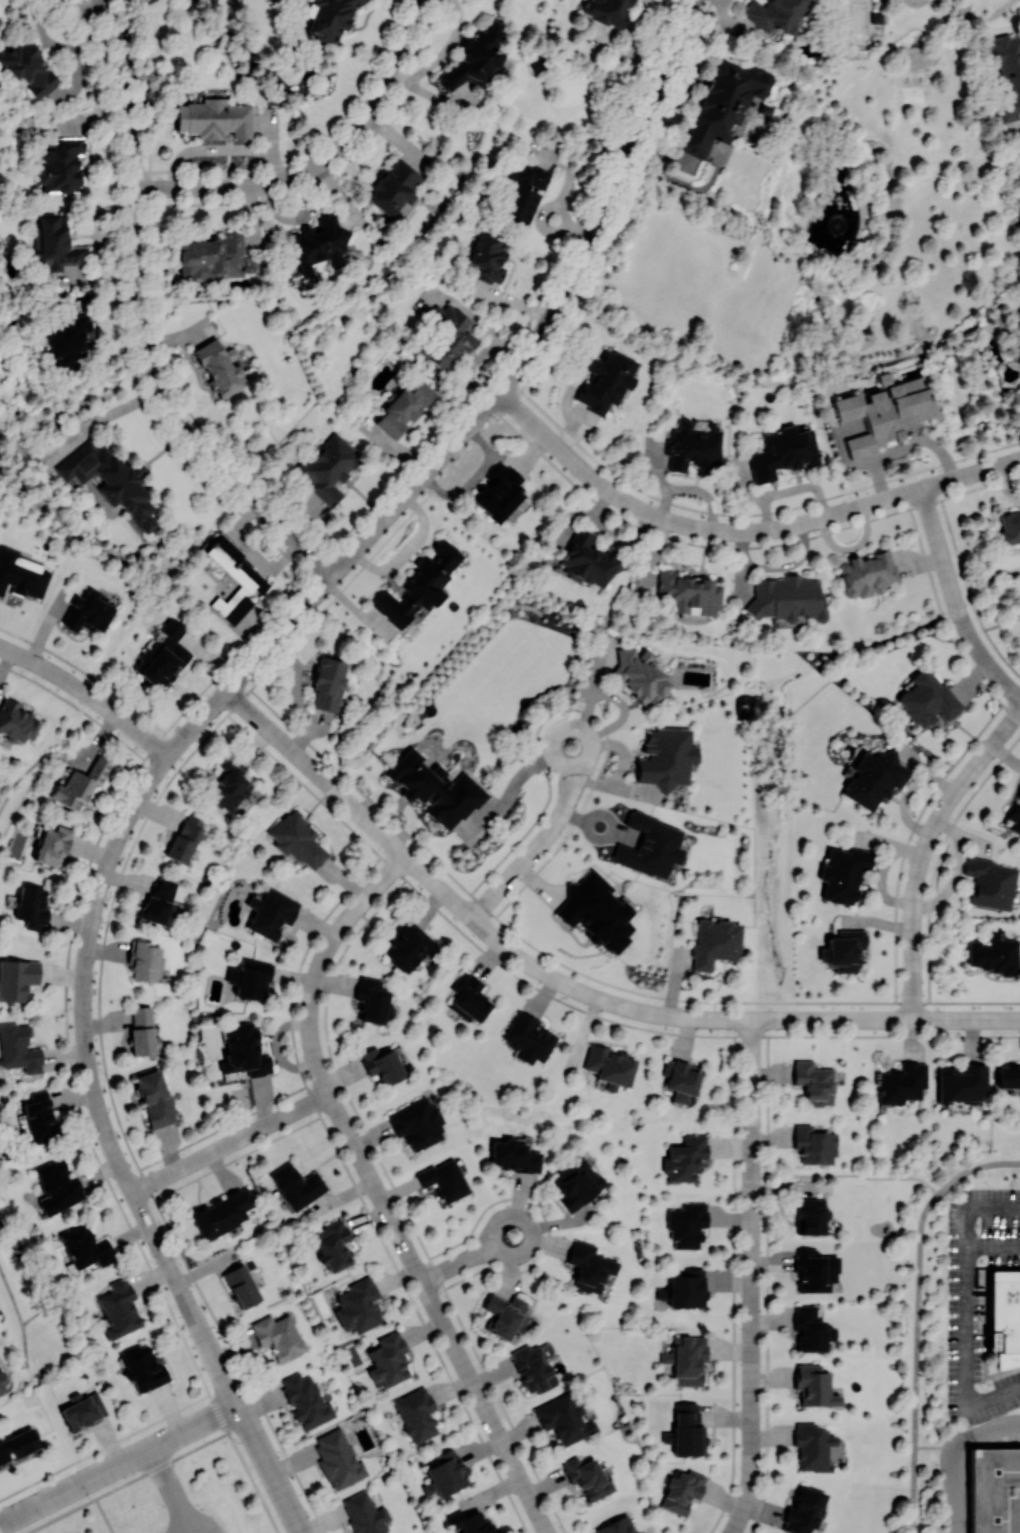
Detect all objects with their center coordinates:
road: (86, 8)
building: (608, 10)
building: (775, 12)
building: (329, 17)
building: (475, 57)
building: (29, 69)
building: (1007, 76)
building: (723, 101)
building: (214, 118)
road: (322, 162)
building: (60, 165)
building: (1017, 171)
building: (394, 189)
building: (520, 191)
road: (605, 200)
park: (826, 236)
building: (320, 243)
building: (56, 245)
building: (215, 258)
building: (488, 258)
road: (135, 315)
building: (449, 338)
building: (64, 340)
building: (218, 368)
building: (606, 380)
building: (402, 407)
building: (881, 414)
building: (691, 446)
building: (783, 452)
building: (328, 468)
building: (110, 480)
building: (499, 491)
building: (108, 509)
building: (1009, 527)
road: (741, 531)
road: (362, 543)
building: (581, 556)
building: (238, 570)
building: (868, 573)
building: (21, 576)
building: (419, 584)
building: (687, 593)
building: (786, 598)
road: (955, 601)
building: (88, 611)
building: (162, 655)
building: (640, 674)
building: (328, 683)
road: (88, 696)
building: (927, 699)
building: (16, 721)
road: (196, 725)
building: (666, 757)
building: (873, 779)
building: (80, 784)
building: (229, 785)
building: (436, 788)
building: (1015, 813)
building: (185, 838)
building: (297, 840)
road: (544, 840)
building: (52, 844)
building: (649, 846)
road: (924, 850)
building: (843, 873)
building: (990, 883)
building: (158, 900)
building: (31, 907)
building: (595, 911)
building: (271, 912)
building: (715, 943)
building: (407, 946)
building: (843, 950)
building: (994, 954)
road: (524, 959)
building: (143, 961)
building: (17, 978)
building: (249, 979)
building: (468, 998)
building: (371, 1000)
road: (967, 1020)
building: (141, 1030)
building: (528, 1037)
building: (18, 1049)
building: (244, 1051)
building: (609, 1064)
building: (382, 1065)
building: (1008, 1076)
building: (680, 1080)
building: (814, 1082)
building: (961, 1082)
building: (901, 1083)
road: (93, 1086)
building: (154, 1098)
building: (39, 1117)
building: (417, 1124)
road: (231, 1143)
building: (814, 1145)
building: (513, 1155)
building: (684, 1158)
road: (856, 1176)
building: (444, 1180)
building: (575, 1183)
building: (296, 1185)
building: (57, 1186)
road: (377, 1191)
building: (222, 1213)
building: (809, 1214)
building: (686, 1225)
building: (332, 1245)
building: (85, 1247)
road: (468, 1258)
building: (588, 1267)
building: (814, 1270)
road: (751, 1277)
building: (241, 1286)
building: (684, 1289)
road: (967, 1305)
building: (358, 1306)
building: (119, 1308)
road: (918, 1316)
building: (1004, 1324)
building: (808, 1329)
building: (274, 1336)
building: (388, 1359)
building: (686, 1359)
building: (530, 1367)
building: (143, 1369)
building: (3, 1385)
building: (813, 1386)
building: (305, 1400)
building: (82, 1409)
building: (416, 1414)
building: (564, 1419)
building: (686, 1430)
building: (17, 1444)
building: (812, 1446)
road: (955, 1455)
building: (338, 1459)
road: (118, 1463)
road: (270, 1468)
building: (444, 1474)
building: (588, 1477)
road: (170, 1489)
building: (681, 1490)
building: (994, 1490)
building: (804, 1510)
building: (364, 1513)
road: (198, 1522)
building: (470, 1522)
building: (615, 1526)

